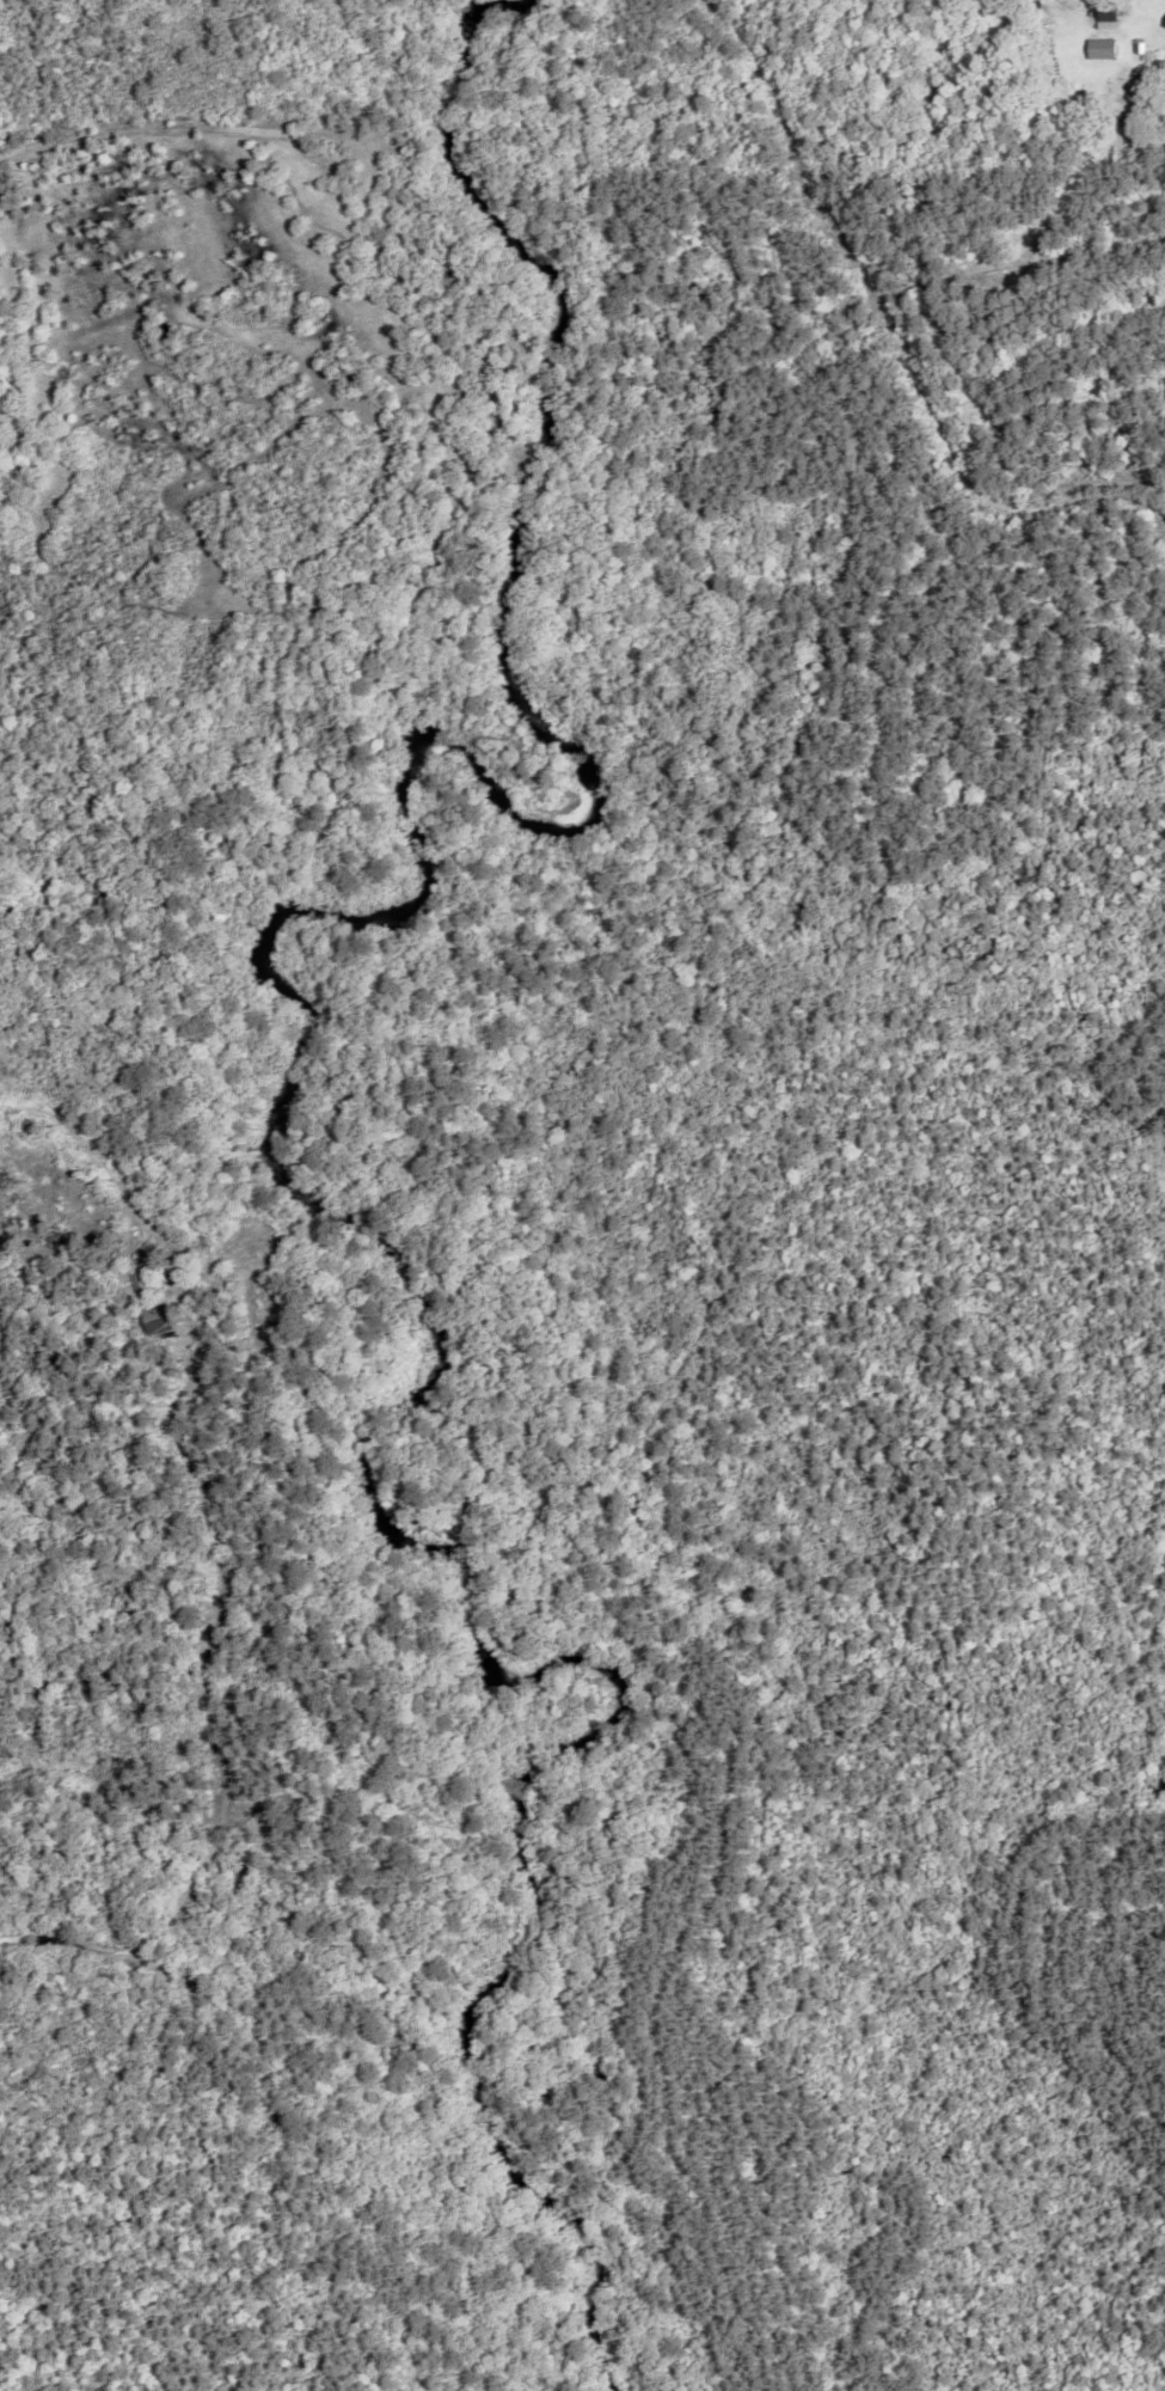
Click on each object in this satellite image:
building: (1105, 10)
building: (1104, 49)
building: (141, 1274)
building: (159, 1320)
road: (206, 1683)

